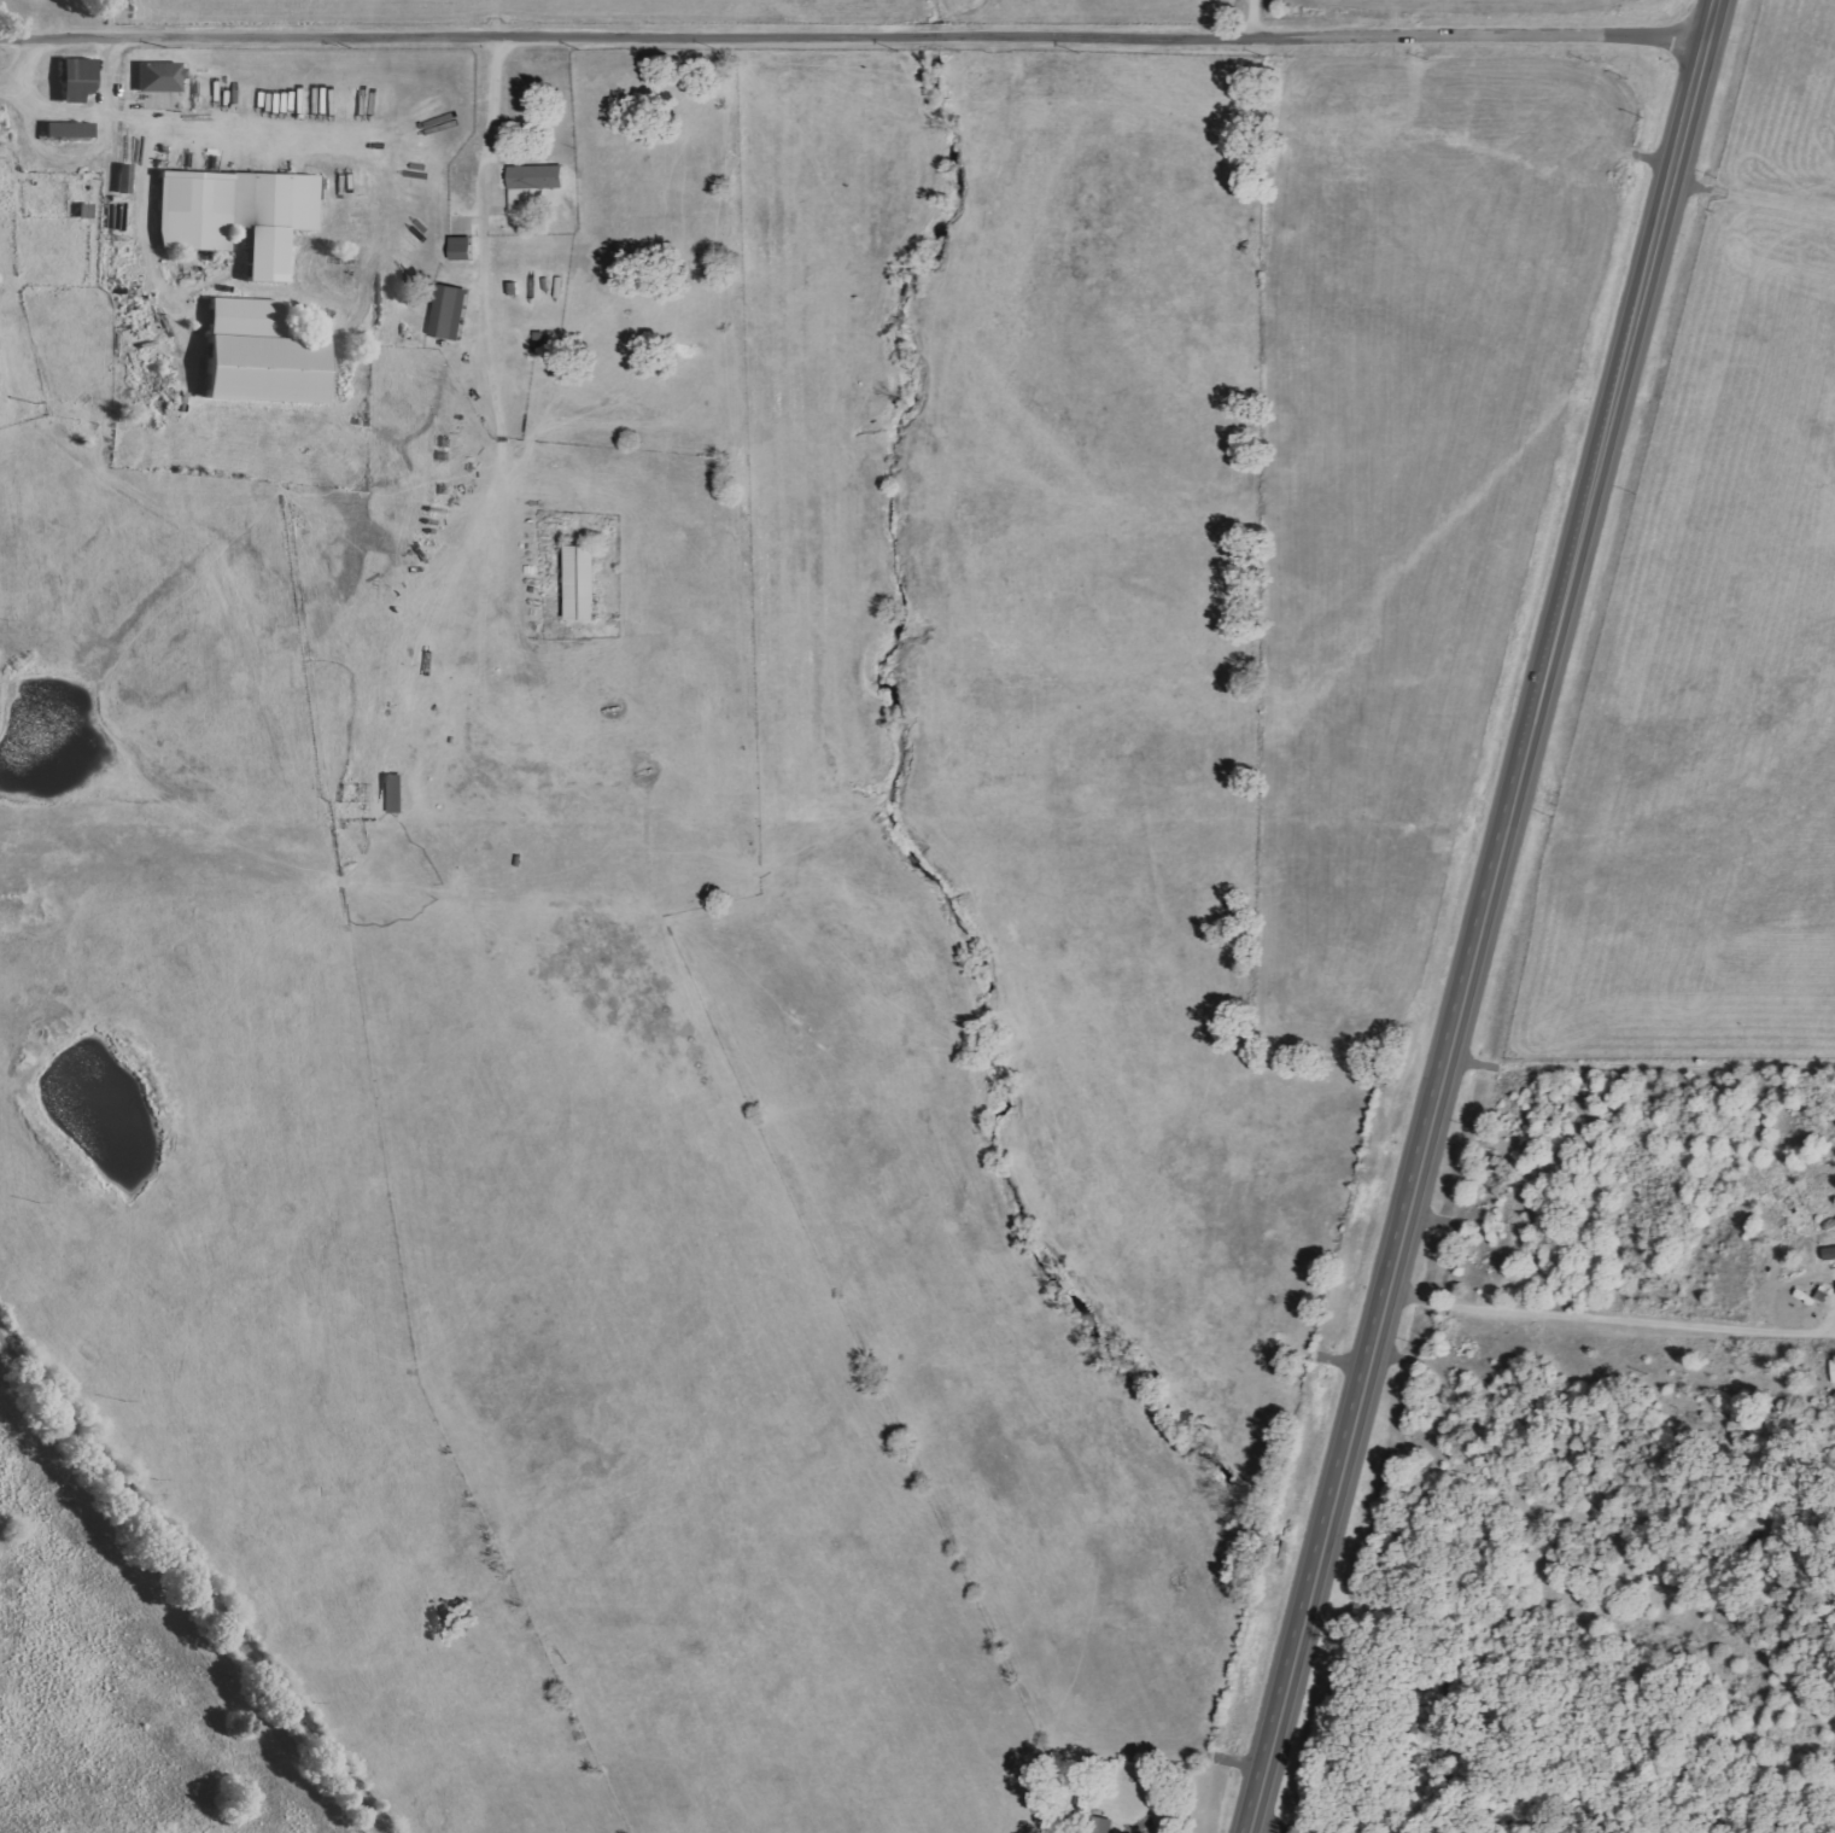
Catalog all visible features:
road: (1253, 18)
road: (1707, 24)
road: (851, 36)
building: (162, 76)
building: (78, 78)
building: (71, 129)
building: (127, 179)
building: (532, 185)
building: (240, 215)
building: (462, 249)
building: (451, 313)
building: (264, 355)
building: (584, 583)
building: (398, 794)
road: (1466, 939)
building: (1834, 1367)
road: (195, 1580)

